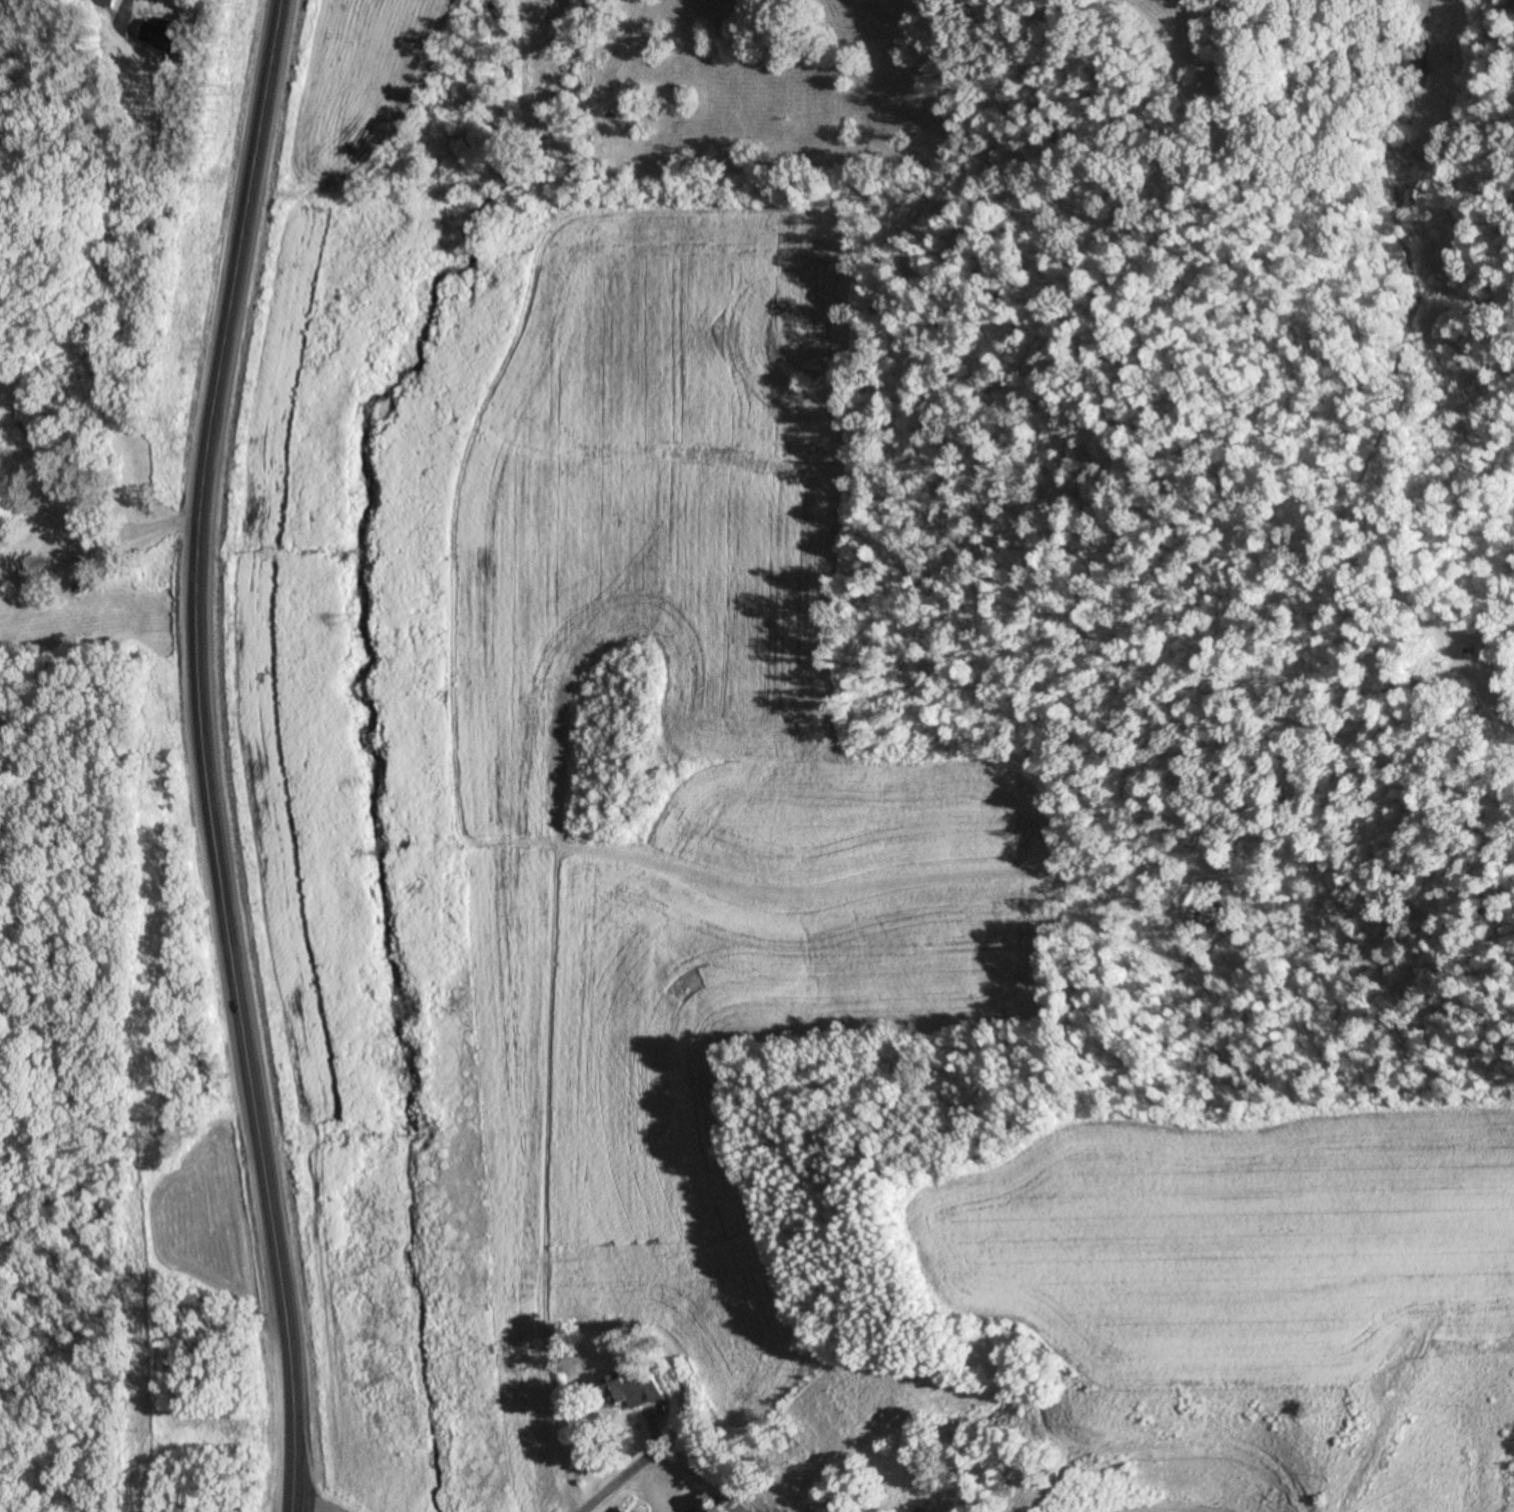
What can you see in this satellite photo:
building: (103, 3)
road: (119, 15)
building: (158, 35)
building: (61, 525)
road: (156, 528)
building: (28, 575)
road: (195, 755)
building: (632, 1392)
road: (605, 1487)
building: (734, 1506)
road: (306, 1509)
building: (618, 1509)

